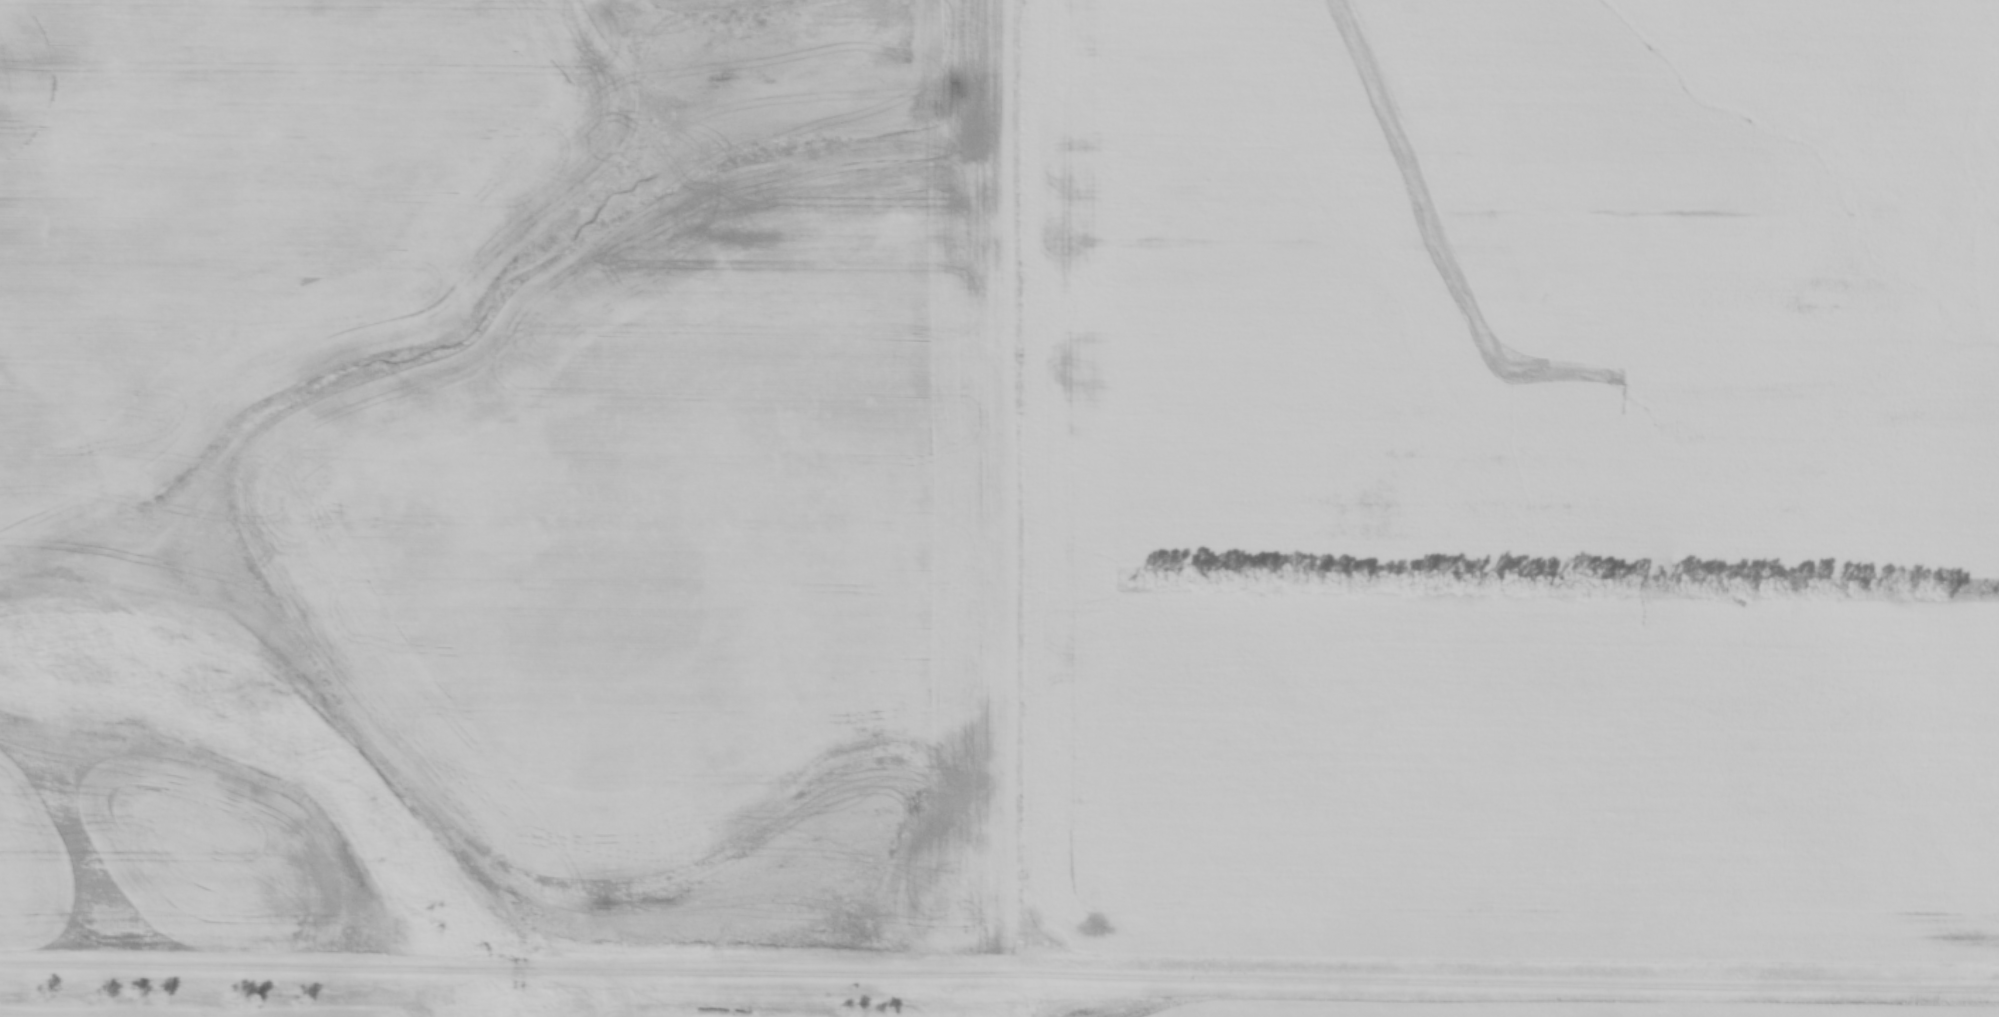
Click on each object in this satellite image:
road: (999, 980)

